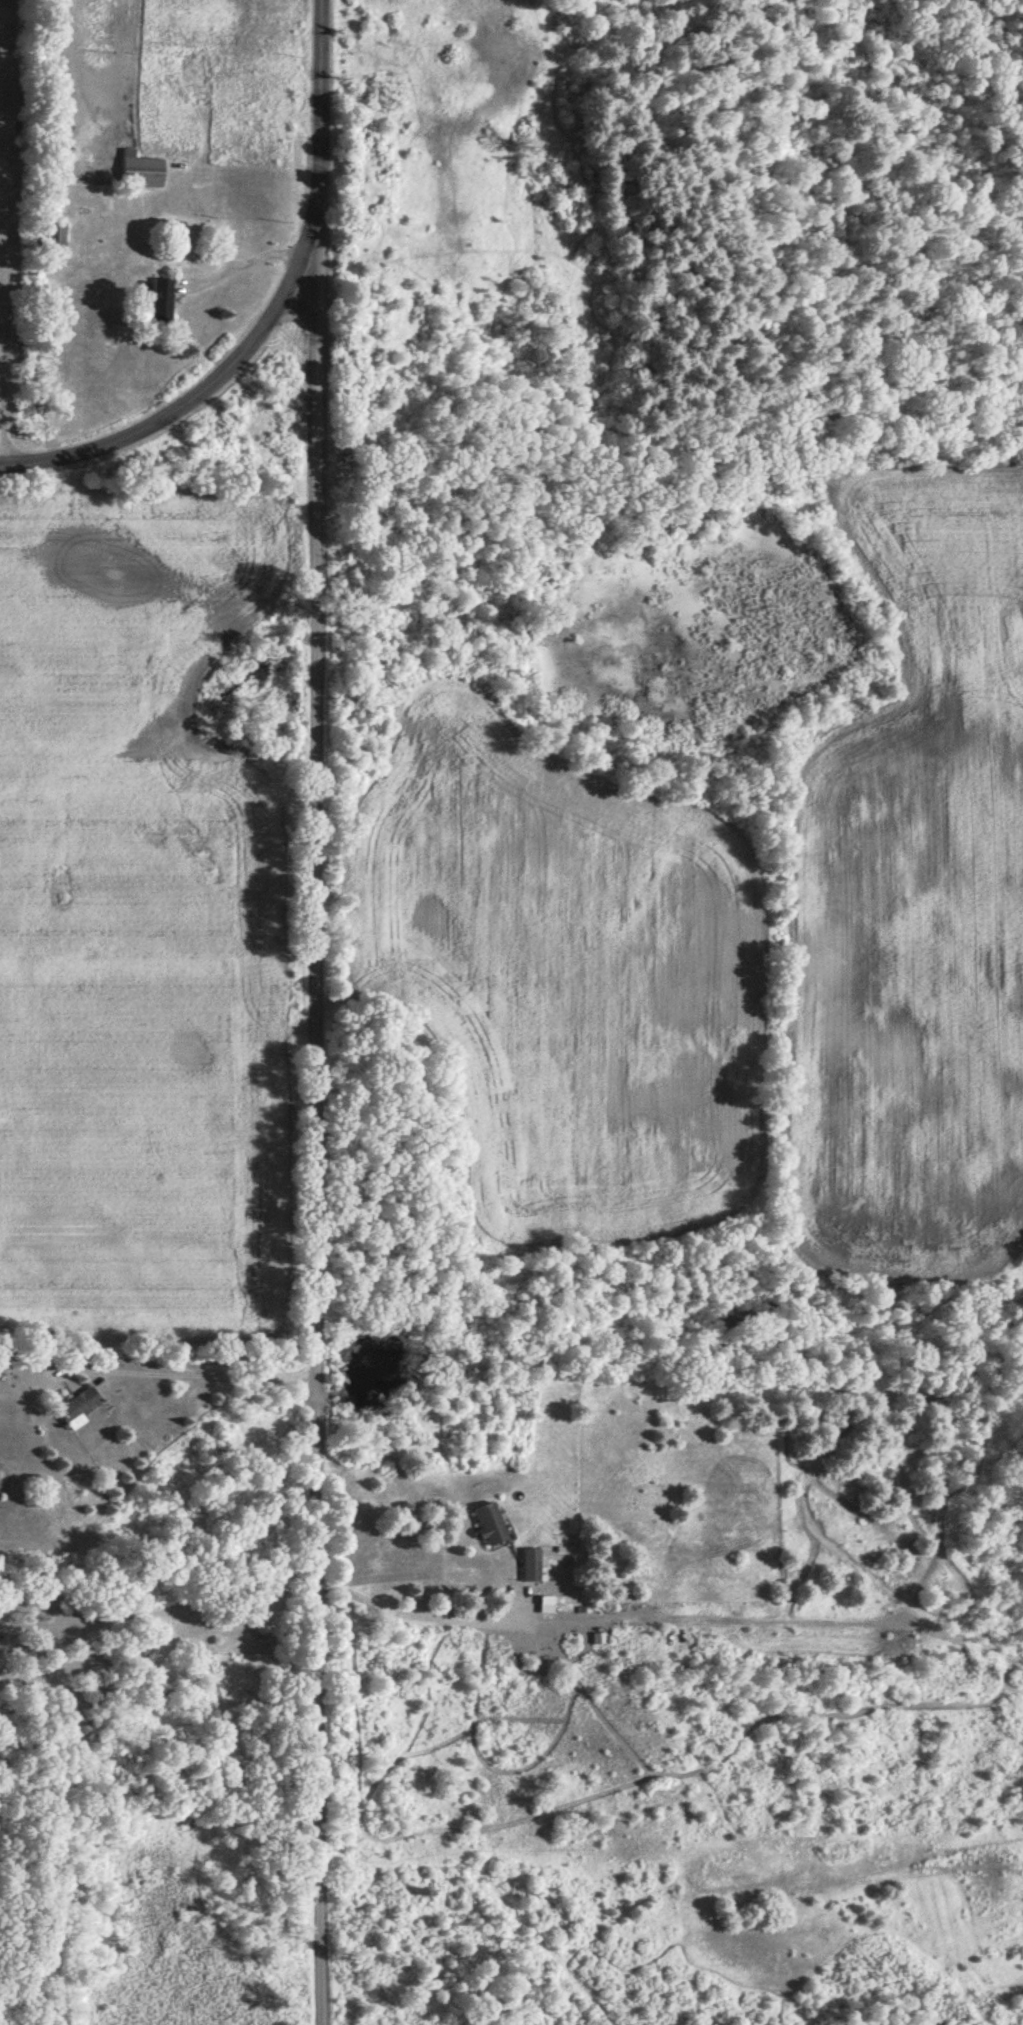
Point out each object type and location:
building: (137, 169)
building: (53, 234)
building: (157, 298)
road: (194, 408)
road: (321, 1012)
building: (485, 1523)
building: (531, 1565)
building: (544, 1603)

